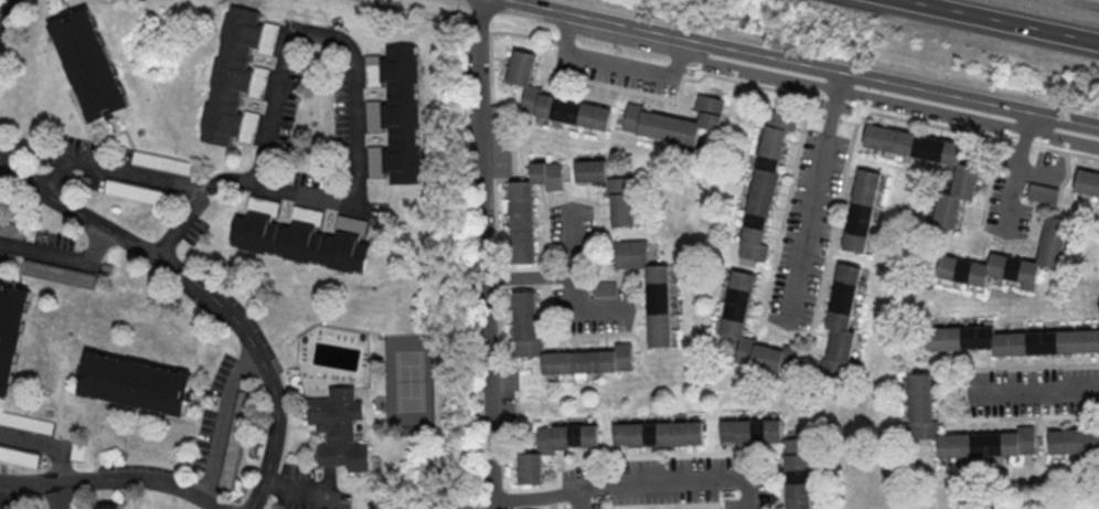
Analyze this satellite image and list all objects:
road: (4, 9)
road: (1003, 20)
road: (615, 63)
road: (802, 66)
building: (88, 67)
road: (714, 76)
building: (231, 77)
building: (551, 99)
road: (887, 100)
building: (401, 116)
building: (672, 121)
road: (2, 165)
building: (160, 165)
road: (115, 170)
road: (1014, 173)
building: (963, 180)
building: (1087, 183)
building: (762, 188)
parking lot: (1016, 189)
building: (608, 191)
building: (132, 192)
building: (1041, 194)
road: (810, 200)
road: (194, 202)
road: (337, 202)
building: (527, 209)
building: (860, 211)
parking lot: (804, 230)
building: (11, 231)
road: (1012, 241)
building: (299, 244)
road: (484, 254)
road: (62, 255)
building: (1010, 261)
parking lot: (570, 266)
building: (56, 274)
road: (529, 276)
road: (572, 284)
building: (602, 289)
road: (202, 290)
building: (648, 290)
building: (735, 306)
building: (523, 316)
building: (839, 322)
building: (10, 332)
road: (781, 332)
building: (1012, 342)
park: (409, 381)
building: (134, 385)
road: (959, 391)
parking lot: (1031, 391)
road: (1033, 392)
building: (918, 399)
road: (222, 421)
building: (24, 424)
building: (341, 431)
building: (658, 435)
building: (232, 441)
building: (1073, 442)
road: (44, 446)
building: (553, 448)
building: (18, 456)
road: (111, 479)
road: (664, 480)
parking lot: (664, 483)
building: (794, 484)
road: (297, 489)
road: (56, 496)
road: (534, 497)
road: (0, 507)
building: (104, 507)

